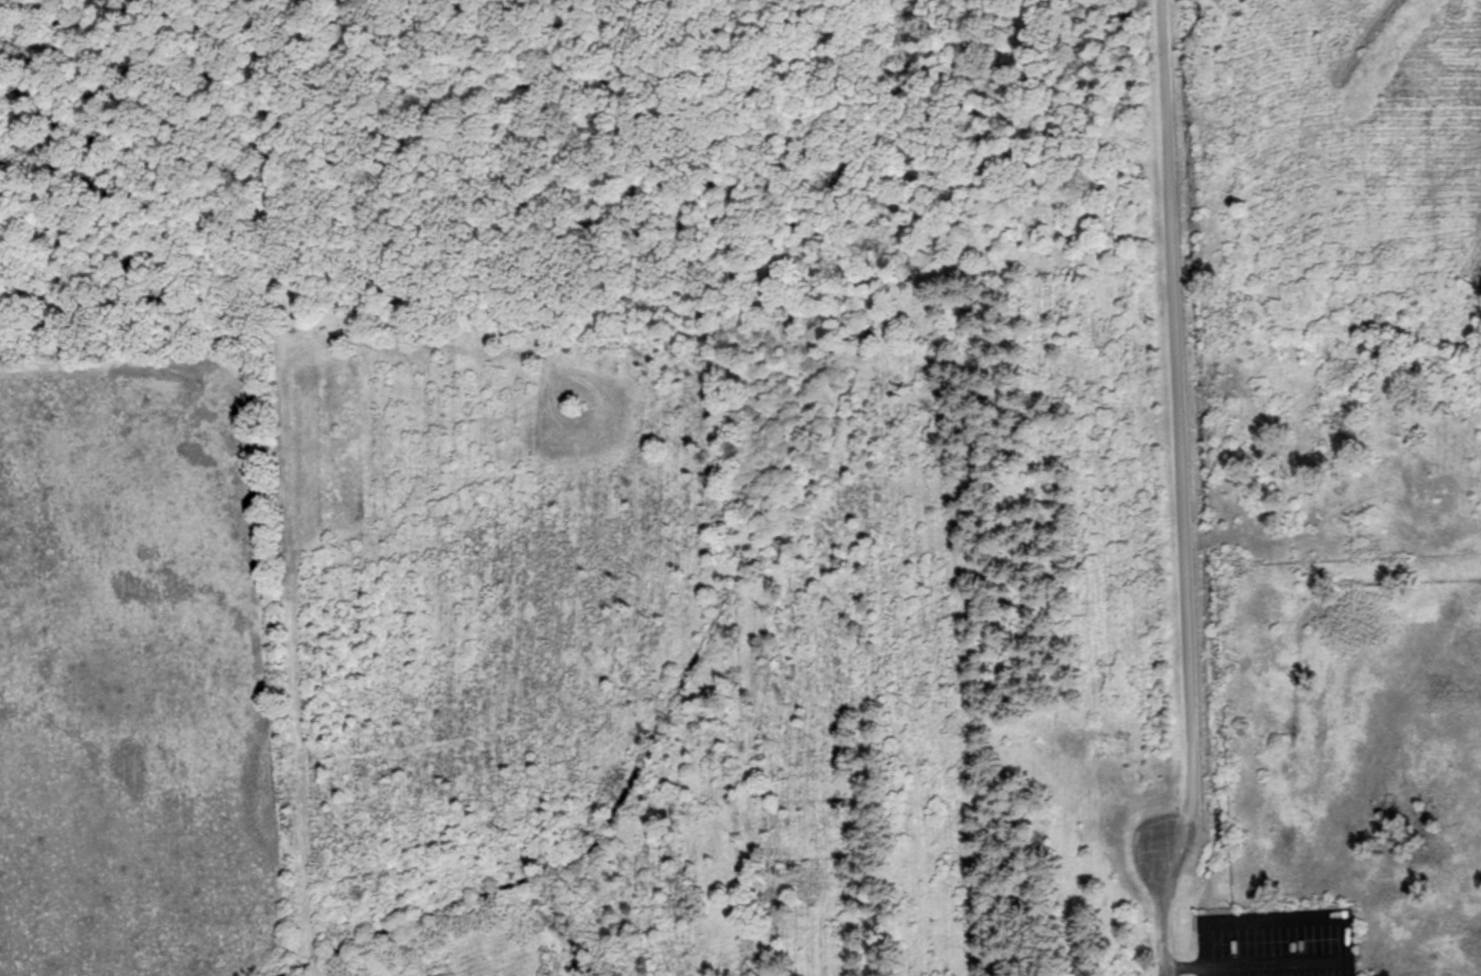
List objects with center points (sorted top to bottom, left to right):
road: (1180, 410)
road: (1163, 896)
road: (1271, 921)
parking lot: (1280, 941)
road: (1263, 964)

